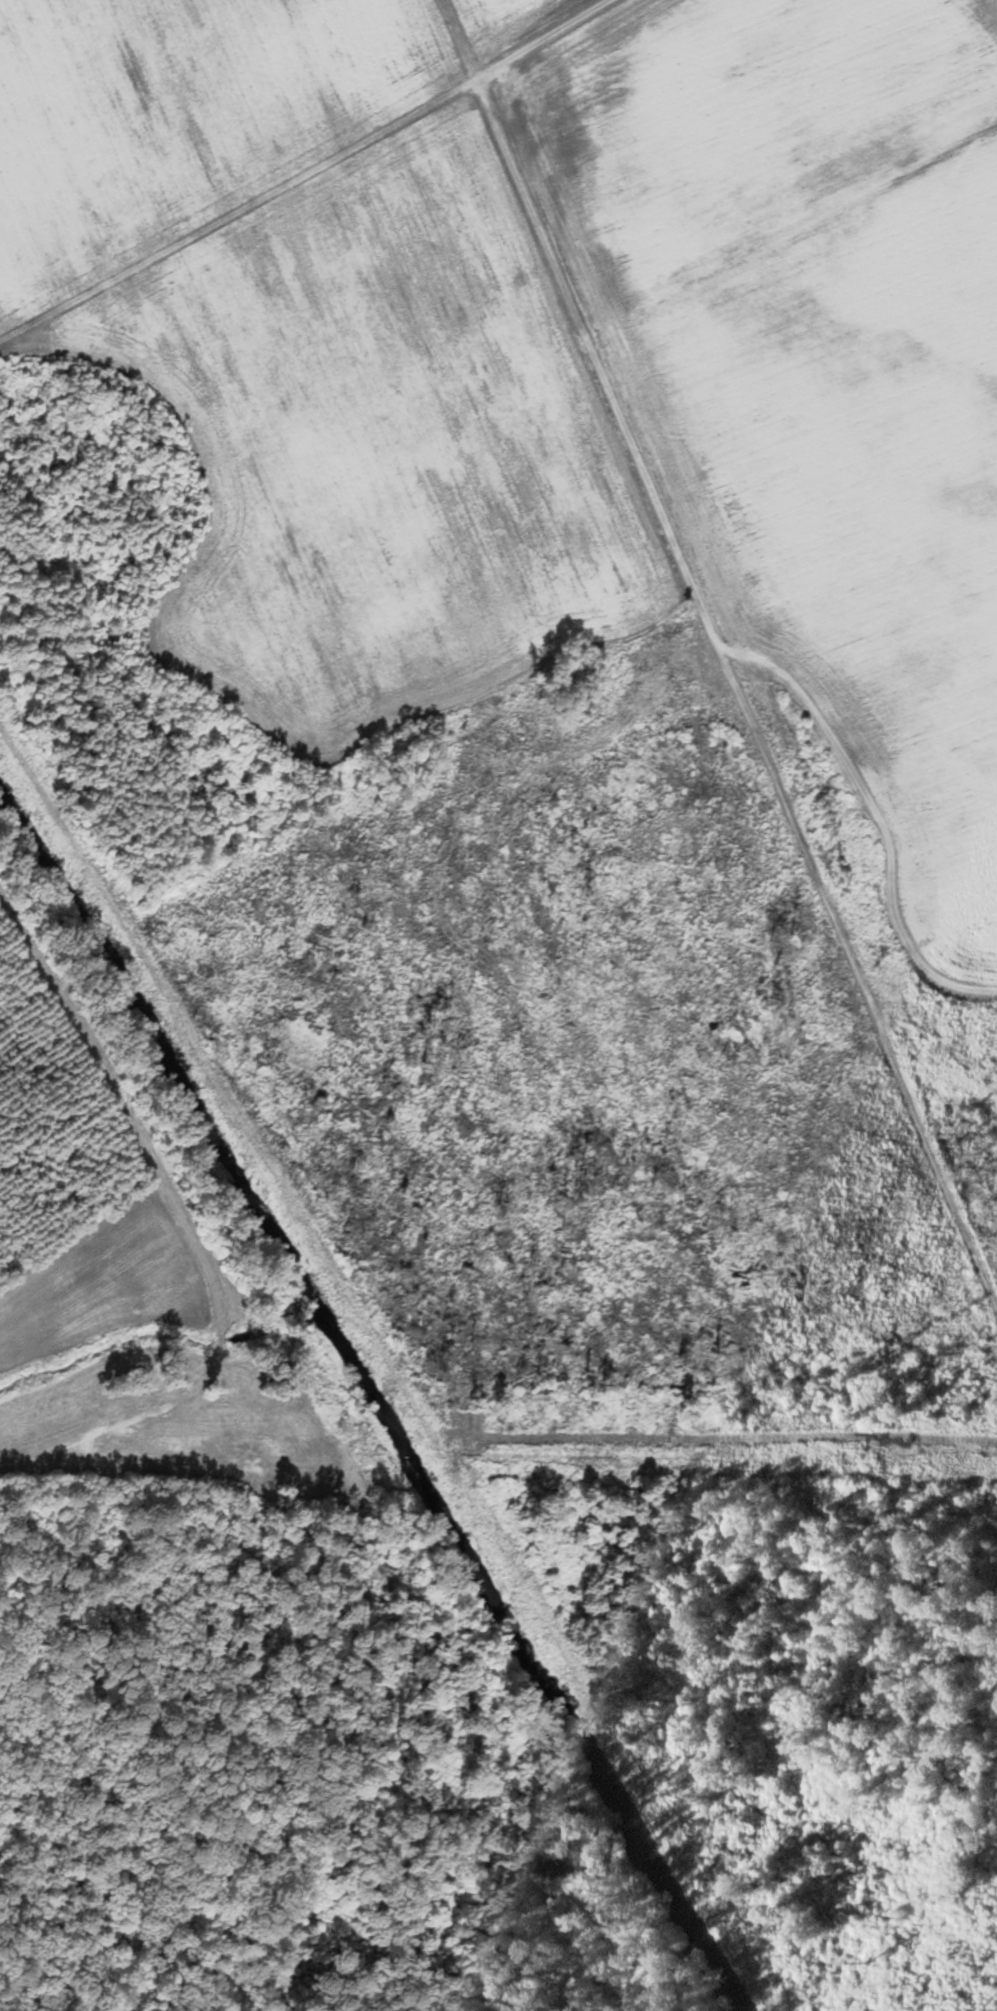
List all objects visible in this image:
road: (580, 64)
road: (745, 582)
power tower: (109, 1442)
power tower: (453, 1447)
power tower: (892, 1453)

